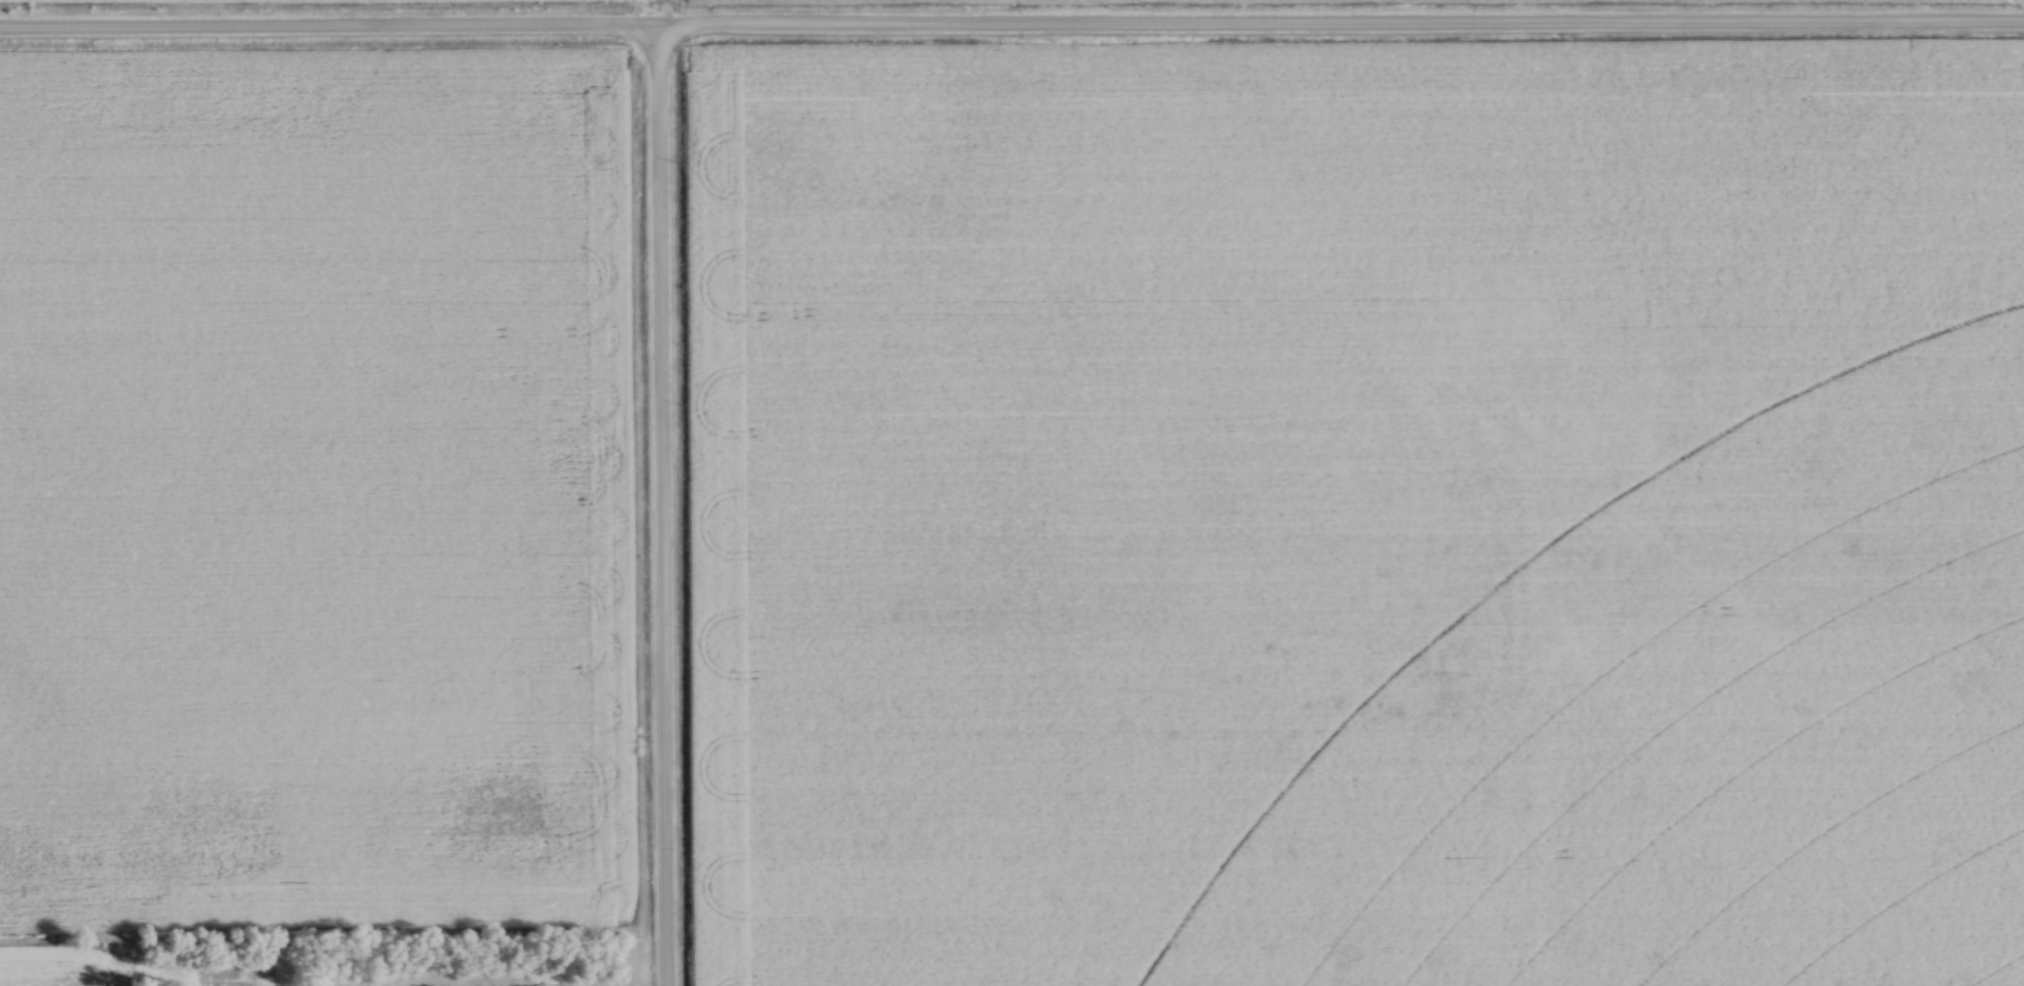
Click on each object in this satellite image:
road: (1011, 28)
road: (660, 506)

